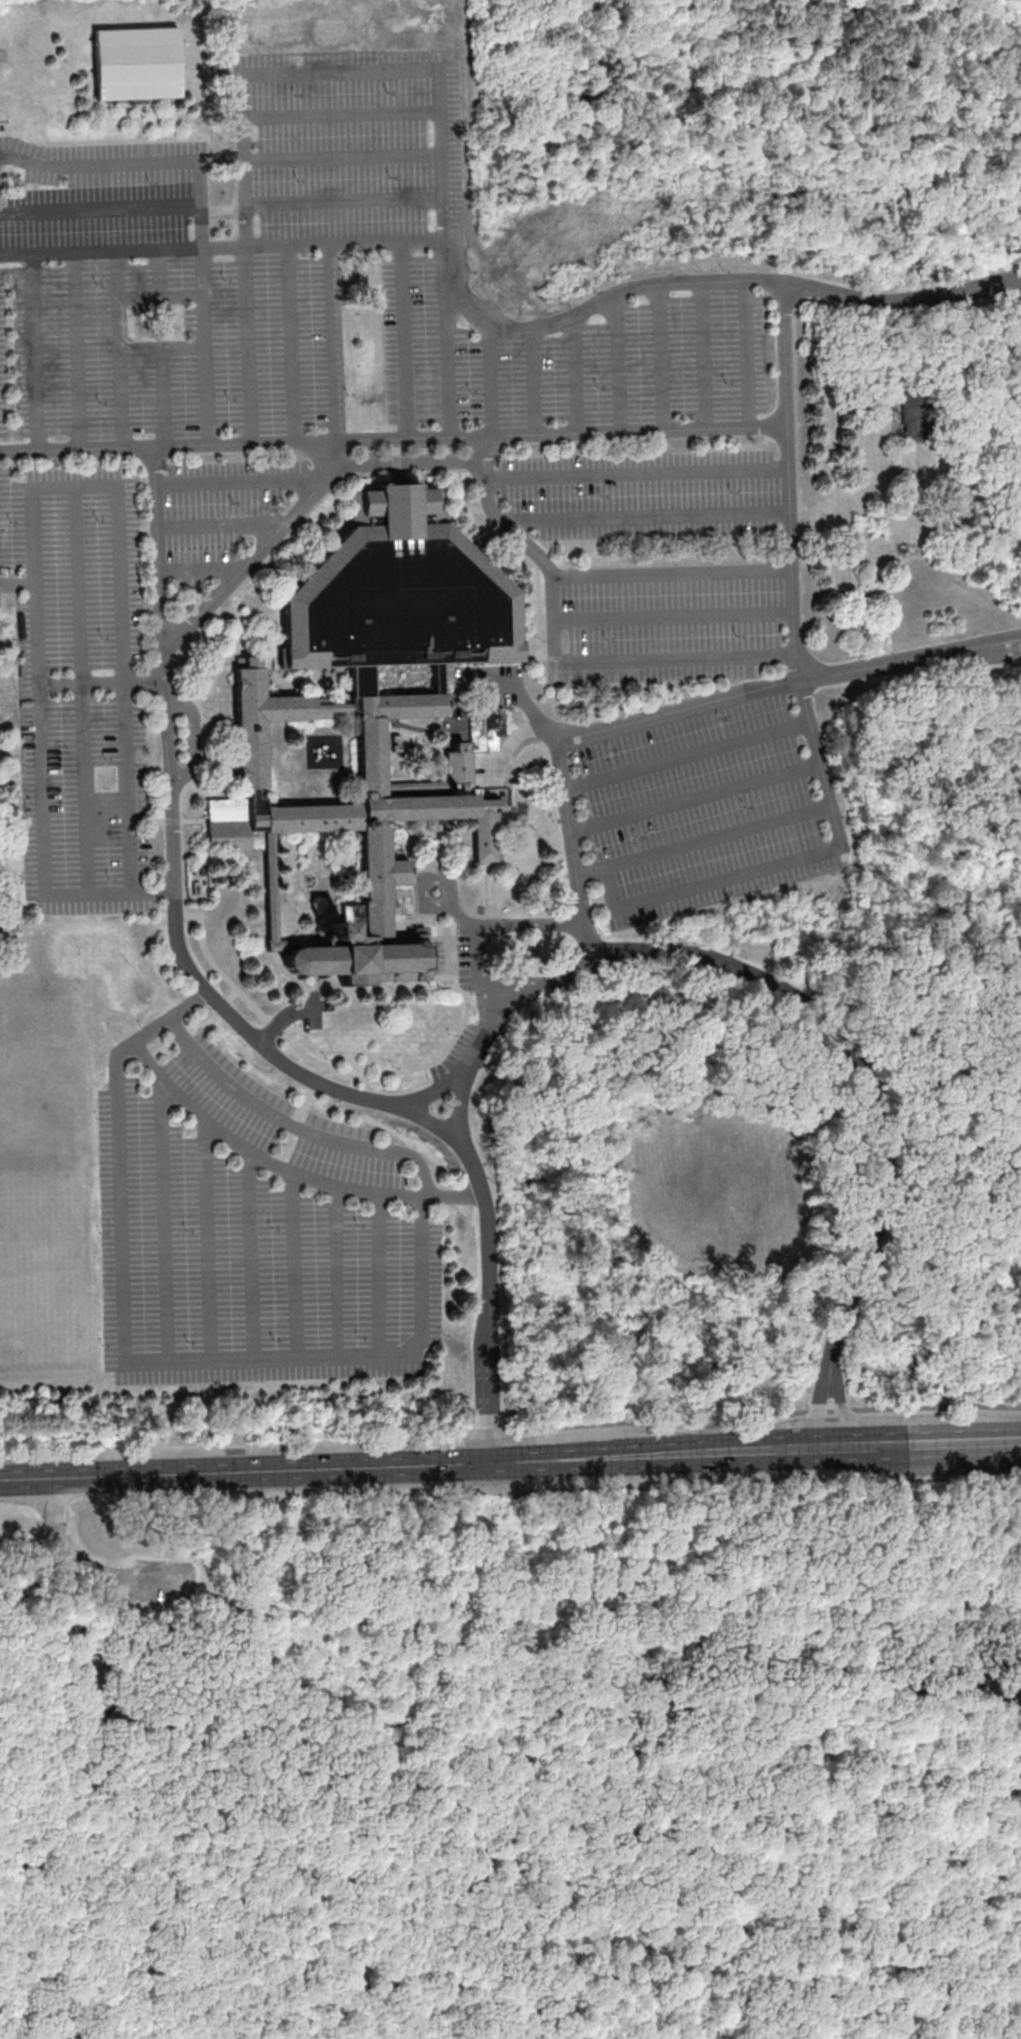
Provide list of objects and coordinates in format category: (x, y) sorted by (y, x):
building: (139, 66)
road: (342, 112)
road: (344, 159)
road: (144, 164)
road: (443, 175)
road: (346, 201)
road: (101, 205)
road: (223, 250)
road: (401, 342)
road: (333, 345)
road: (293, 346)
road: (250, 348)
road: (207, 349)
road: (121, 352)
road: (78, 353)
road: (33, 355)
road: (747, 357)
road: (704, 359)
road: (661, 361)
road: (452, 363)
road: (616, 368)
road: (784, 371)
road: (577, 377)
road: (491, 383)
road: (531, 386)
road: (163, 398)
road: (393, 442)
road: (321, 459)
road: (637, 471)
building: (992, 475)
road: (242, 477)
road: (116, 494)
road: (301, 509)
road: (648, 522)
road: (224, 523)
road: (935, 528)
road: (202, 570)
road: (672, 573)
road: (79, 585)
road: (674, 616)
road: (555, 659)
road: (102, 685)
road: (737, 697)
building: (375, 716)
road: (685, 754)
road: (43, 786)
road: (130, 789)
road: (88, 790)
road: (694, 798)
road: (570, 833)
road: (715, 836)
road: (774, 864)
road: (175, 874)
road: (447, 881)
road: (428, 907)
road: (464, 916)
road: (487, 928)
road: (576, 977)
road: (494, 980)
road: (433, 1093)
road: (874, 1106)
road: (297, 1126)
road: (256, 1154)
road: (656, 1204)
road: (487, 1215)
road: (164, 1220)
road: (207, 1240)
road: (249, 1254)
road: (294, 1266)
road: (336, 1272)
road: (379, 1276)
road: (172, 1361)
road: (763, 1417)
road: (981, 1442)
road: (470, 1463)
traffic signals: (496, 1463)
road: (89, 1569)
parking lot: (160, 1581)
road: (126, 1607)
road: (92, 1637)
road: (183, 1649)
road: (128, 1662)
road: (220, 1669)
road: (380, 1670)
road: (358, 1713)
road: (114, 1728)
road: (41, 1732)
road: (518, 1756)
road: (80, 1830)
road: (350, 1881)
road: (447, 1884)
road: (706, 1901)
road: (514, 1944)
road: (539, 1984)
road: (371, 1996)

